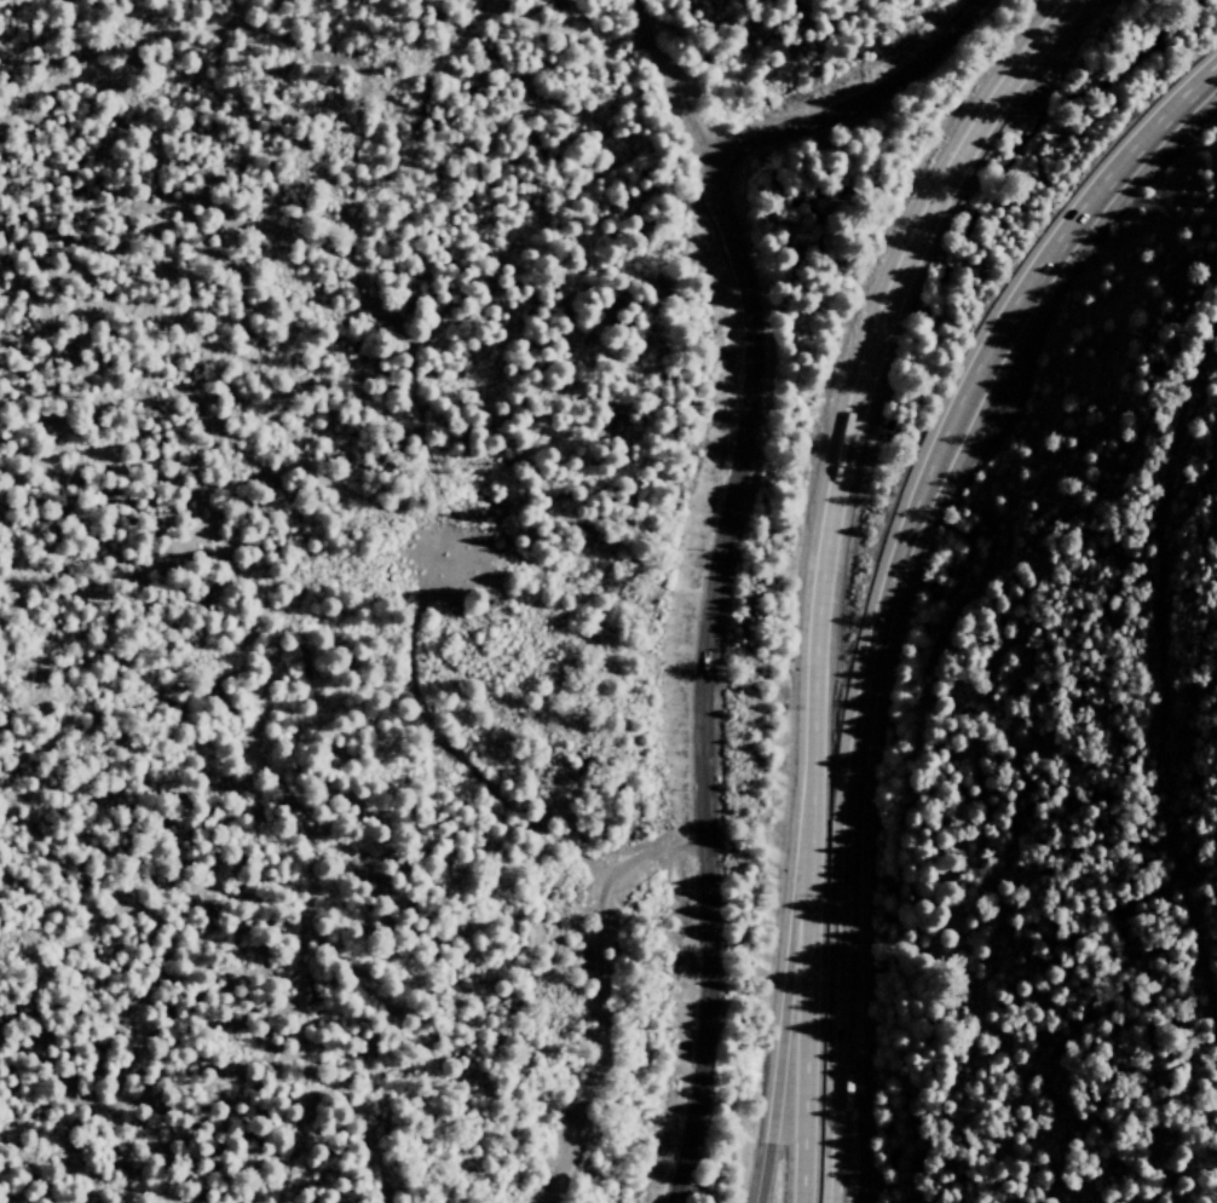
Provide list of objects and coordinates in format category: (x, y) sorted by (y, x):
road: (633, 1)
road: (647, 42)
road: (854, 105)
road: (684, 119)
road: (1094, 189)
road: (821, 571)
road: (700, 675)
road: (855, 756)
road: (778, 1038)
road: (849, 1140)

